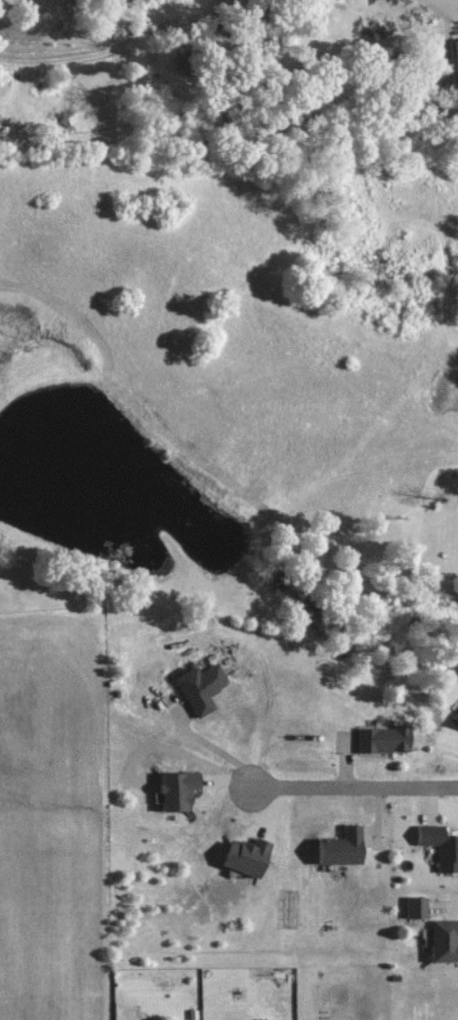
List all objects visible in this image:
road: (447, 4)
building: (196, 685)
building: (455, 717)
building: (377, 737)
road: (354, 784)
building: (171, 788)
building: (437, 845)
building: (335, 846)
building: (241, 855)
building: (412, 906)
building: (441, 938)
building: (260, 1019)

